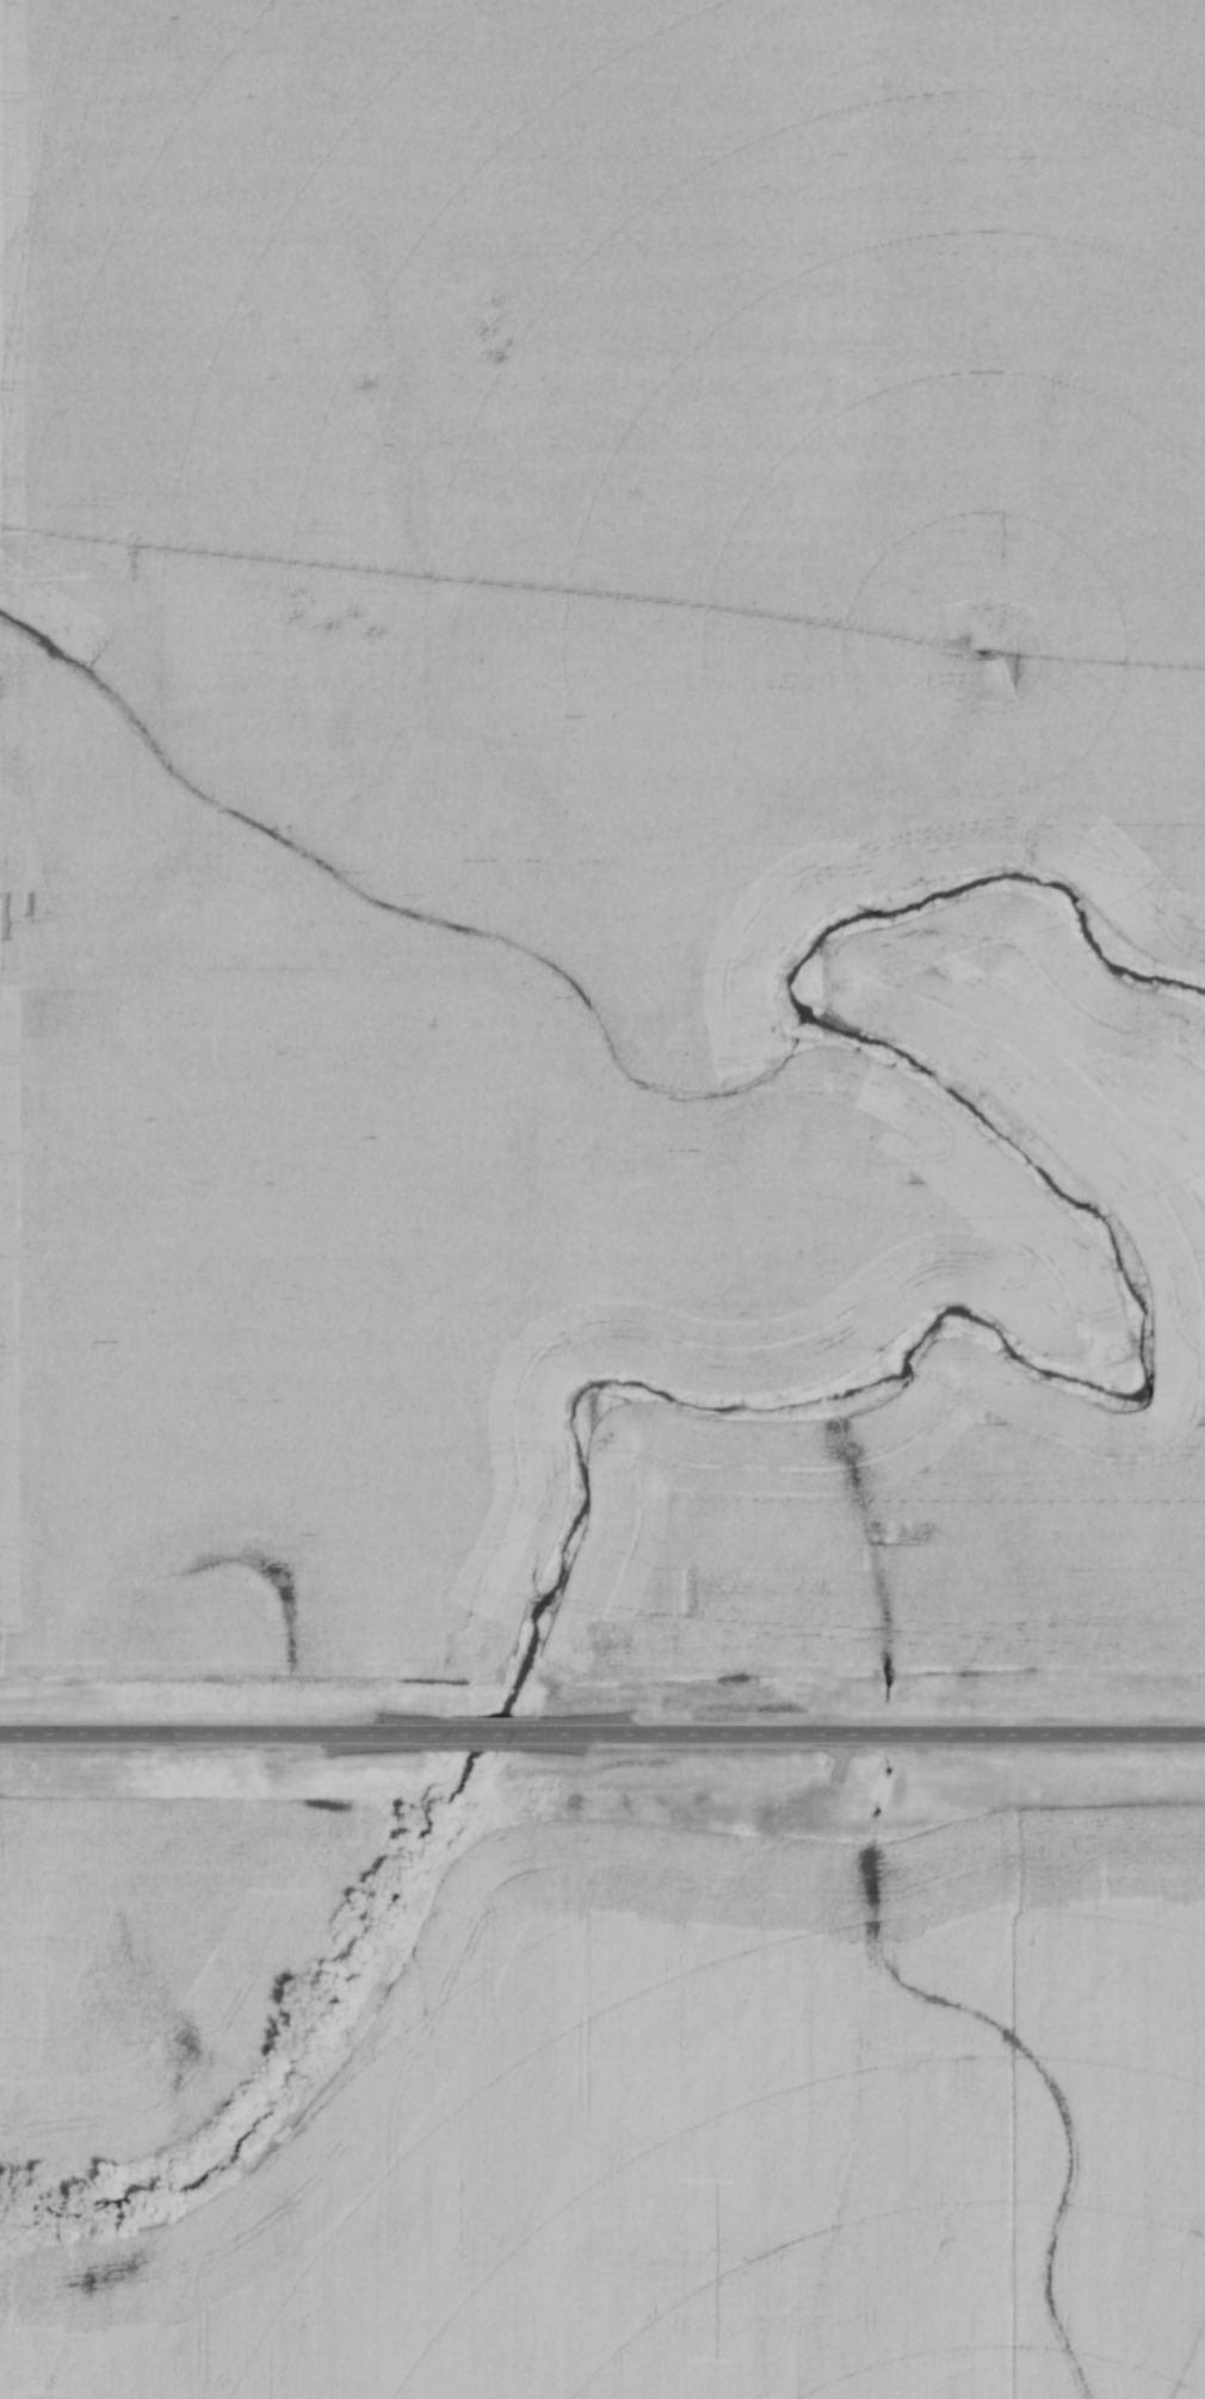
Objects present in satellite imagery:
road: (221, 1737)
road: (865, 1738)
road: (484, 1739)

